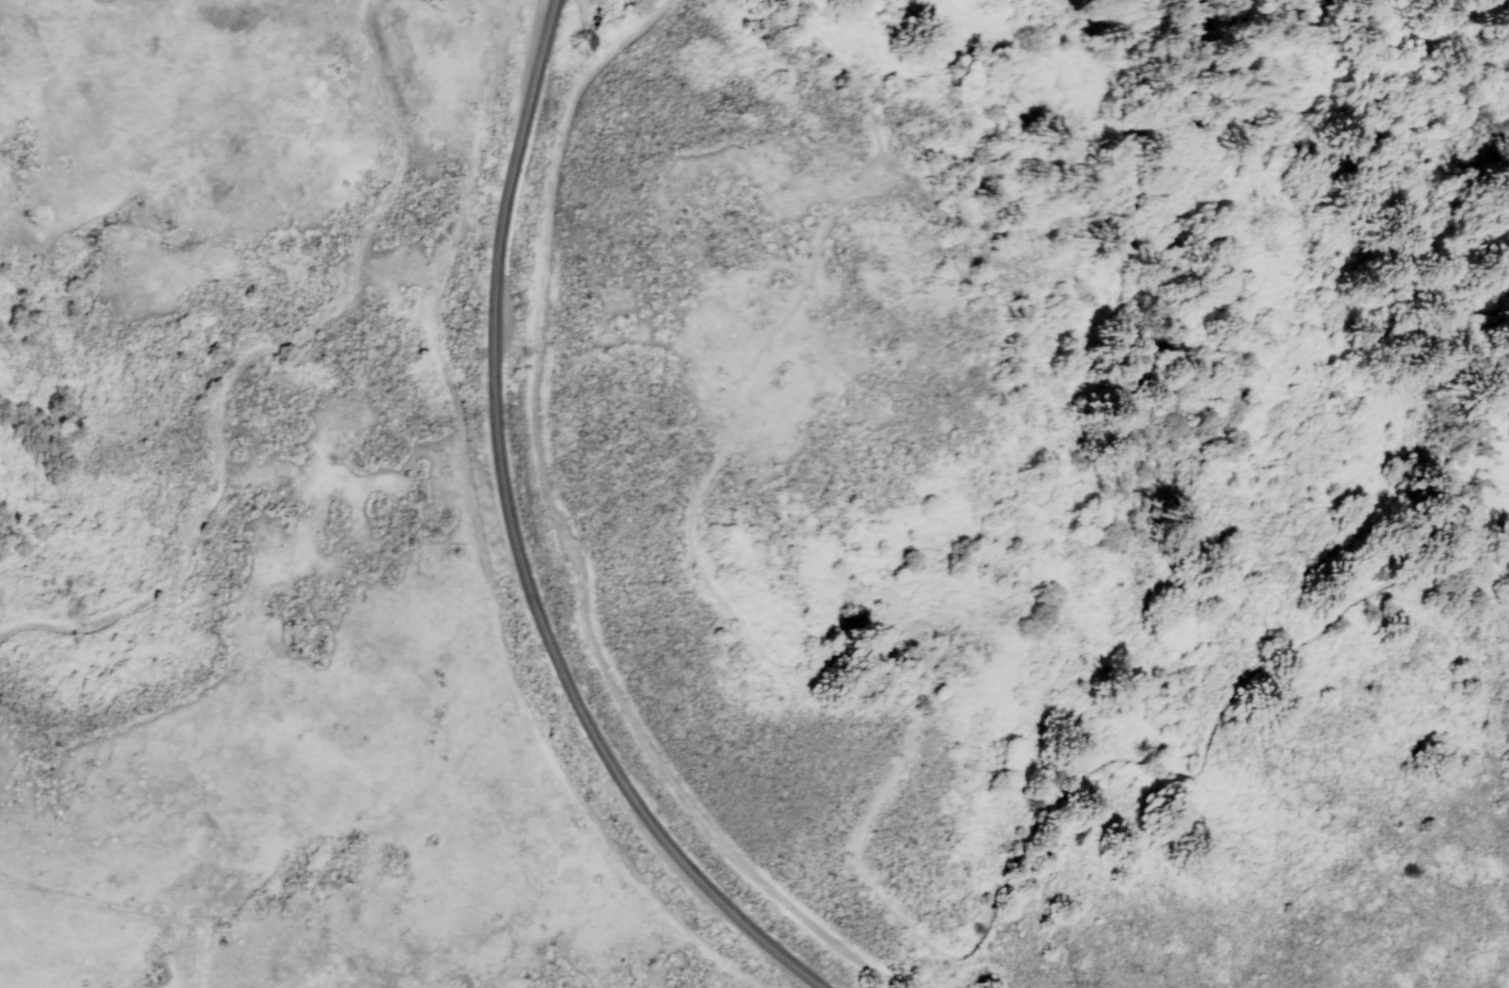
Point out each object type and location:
road: (541, 58)
road: (1481, 325)
road: (248, 354)
road: (565, 534)
road: (475, 535)
road: (1487, 580)
road: (533, 600)
road: (916, 722)
road: (130, 906)

